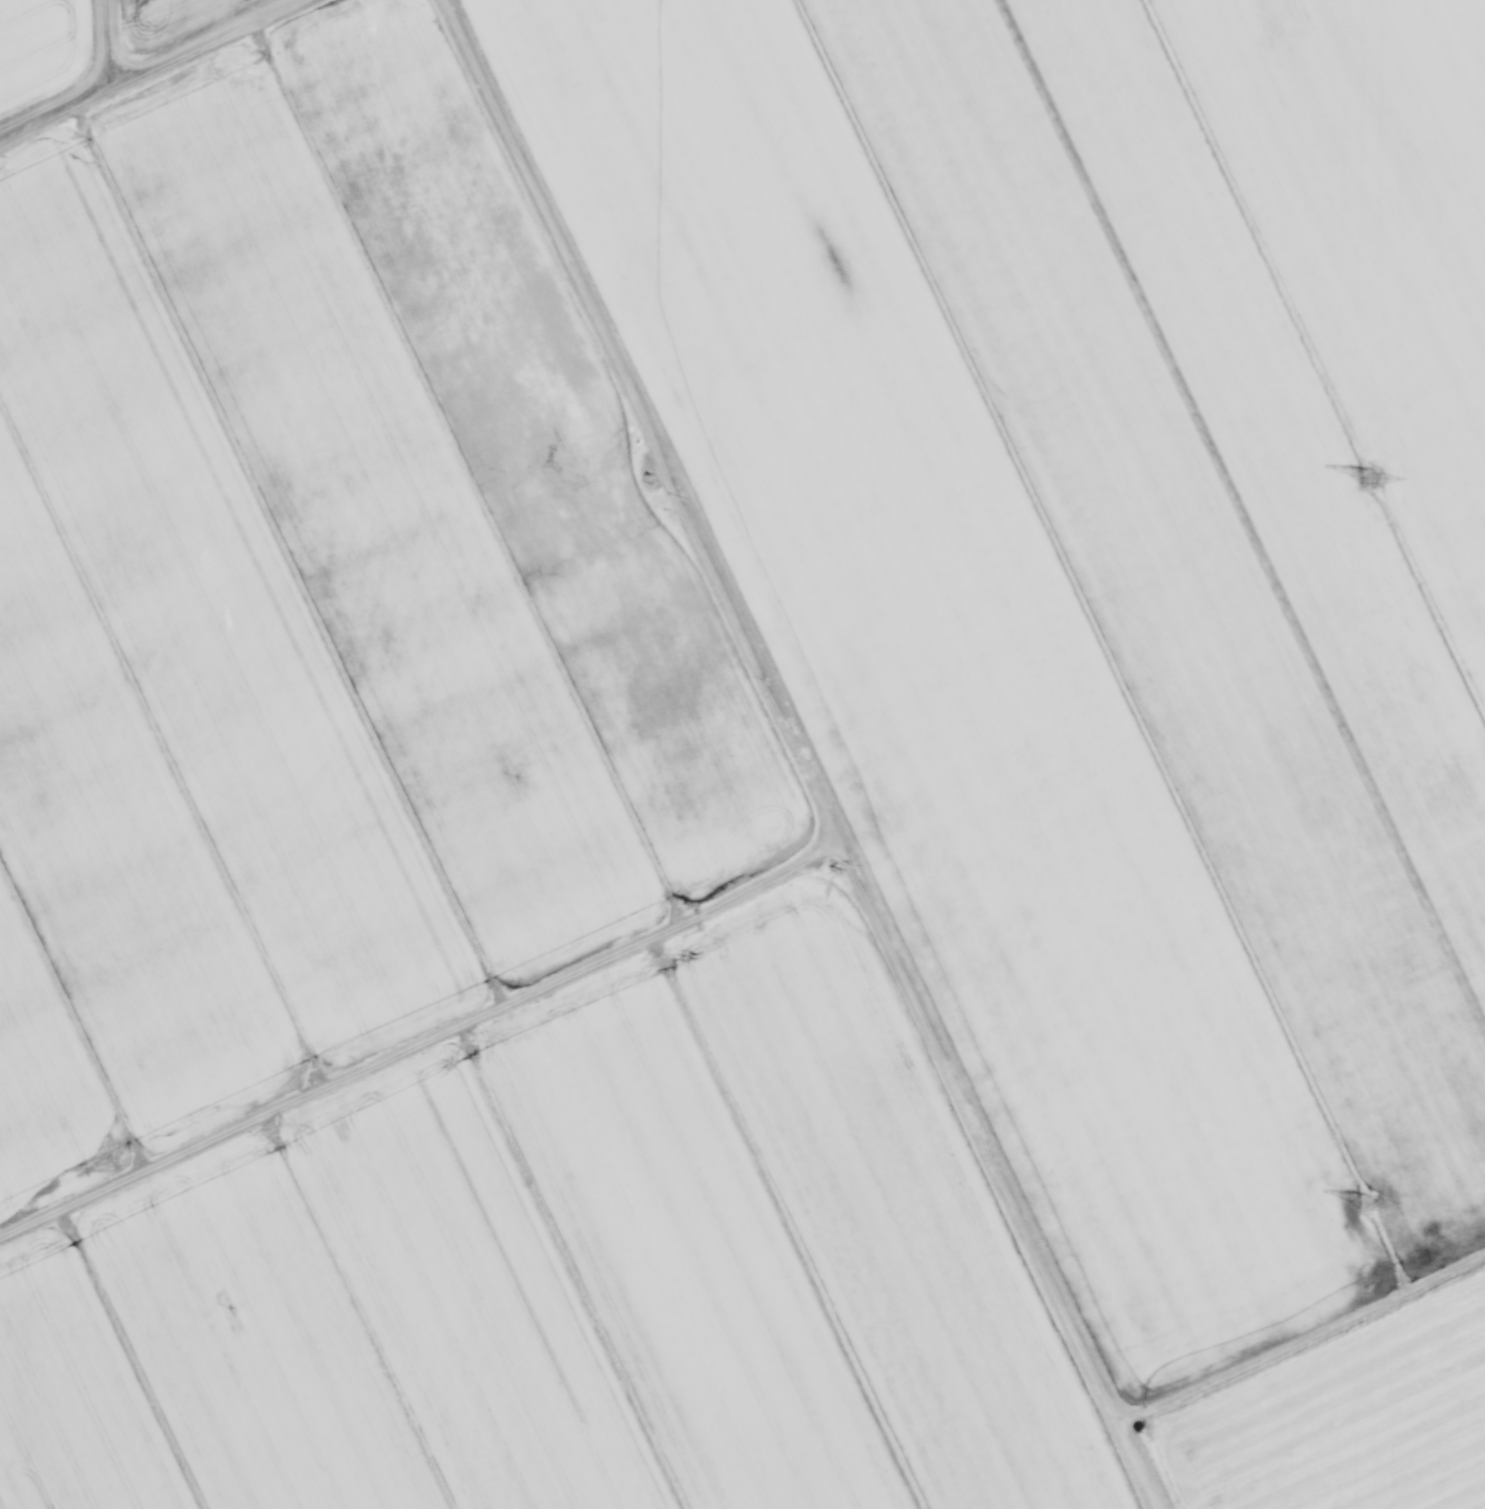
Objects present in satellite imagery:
power tower: (1371, 479)
power tower: (1369, 1204)

